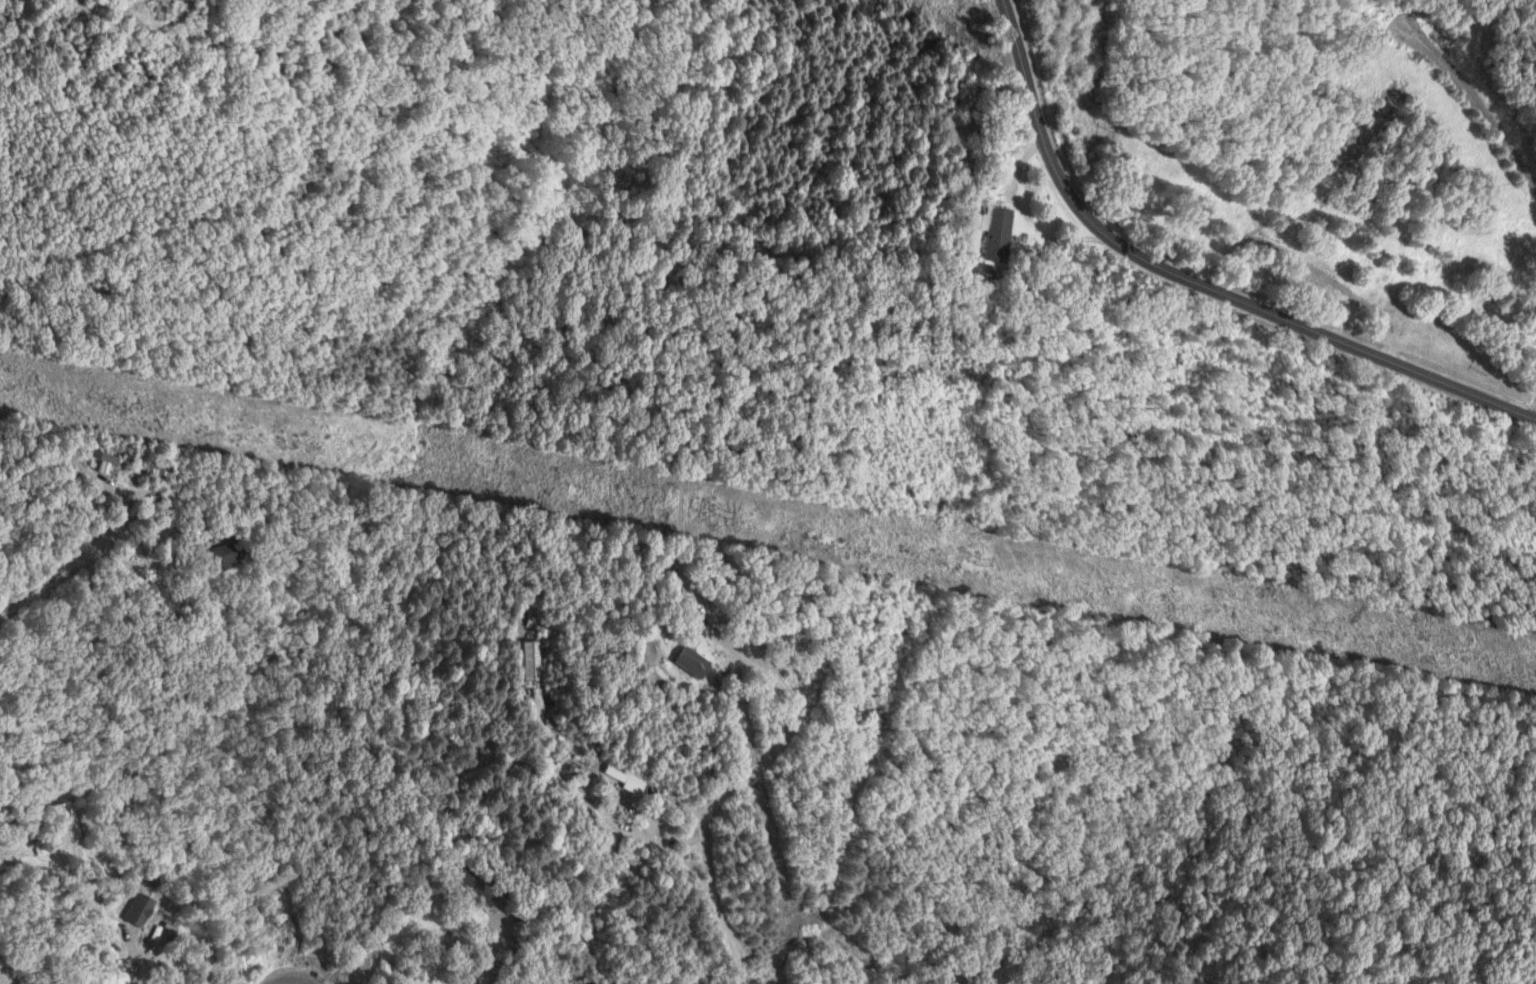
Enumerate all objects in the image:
building: (164, 9)
road: (1477, 96)
road: (1023, 221)
building: (1002, 234)
road: (1199, 279)
power tower: (109, 399)
road: (1533, 413)
building: (104, 460)
building: (158, 468)
power tower: (725, 514)
road: (112, 523)
road: (93, 547)
building: (224, 555)
power tower: (983, 562)
building: (527, 660)
building: (694, 662)
road: (753, 771)
building: (624, 779)
building: (66, 821)
road: (17, 842)
building: (40, 848)
building: (475, 884)
road: (710, 903)
building: (139, 909)
road: (483, 952)
road: (125, 967)
road: (287, 972)
road: (1, 981)

